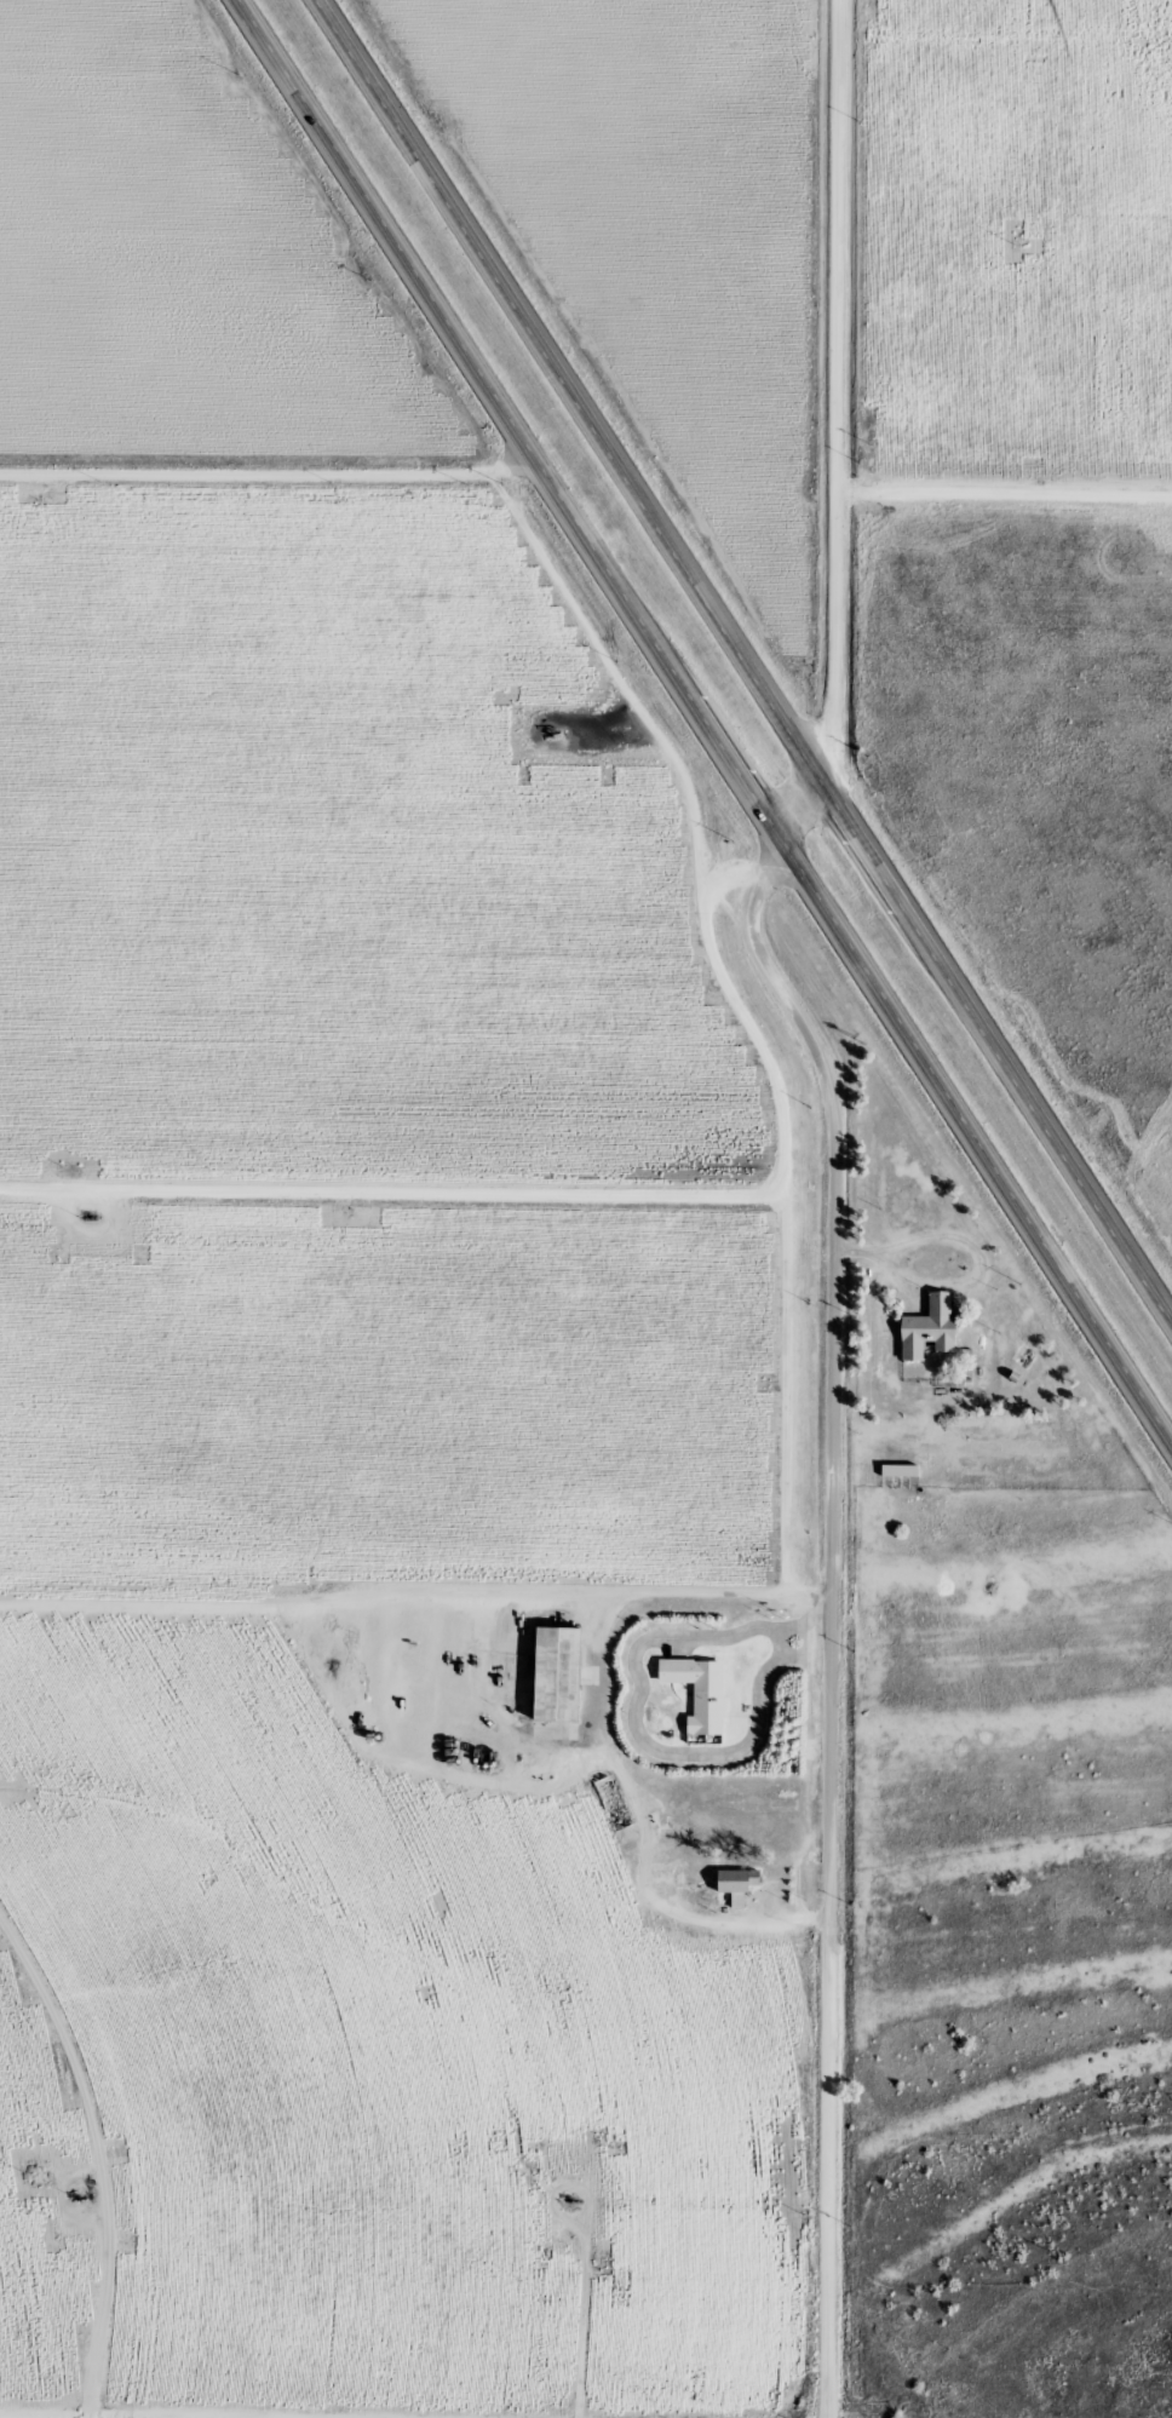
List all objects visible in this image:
road: (274, 484)
road: (737, 662)
road: (701, 724)
road: (843, 1189)
building: (925, 1327)
building: (896, 1470)
building: (552, 1675)
building: (696, 1692)
road: (343, 1706)
road: (637, 1717)
building: (732, 1885)

